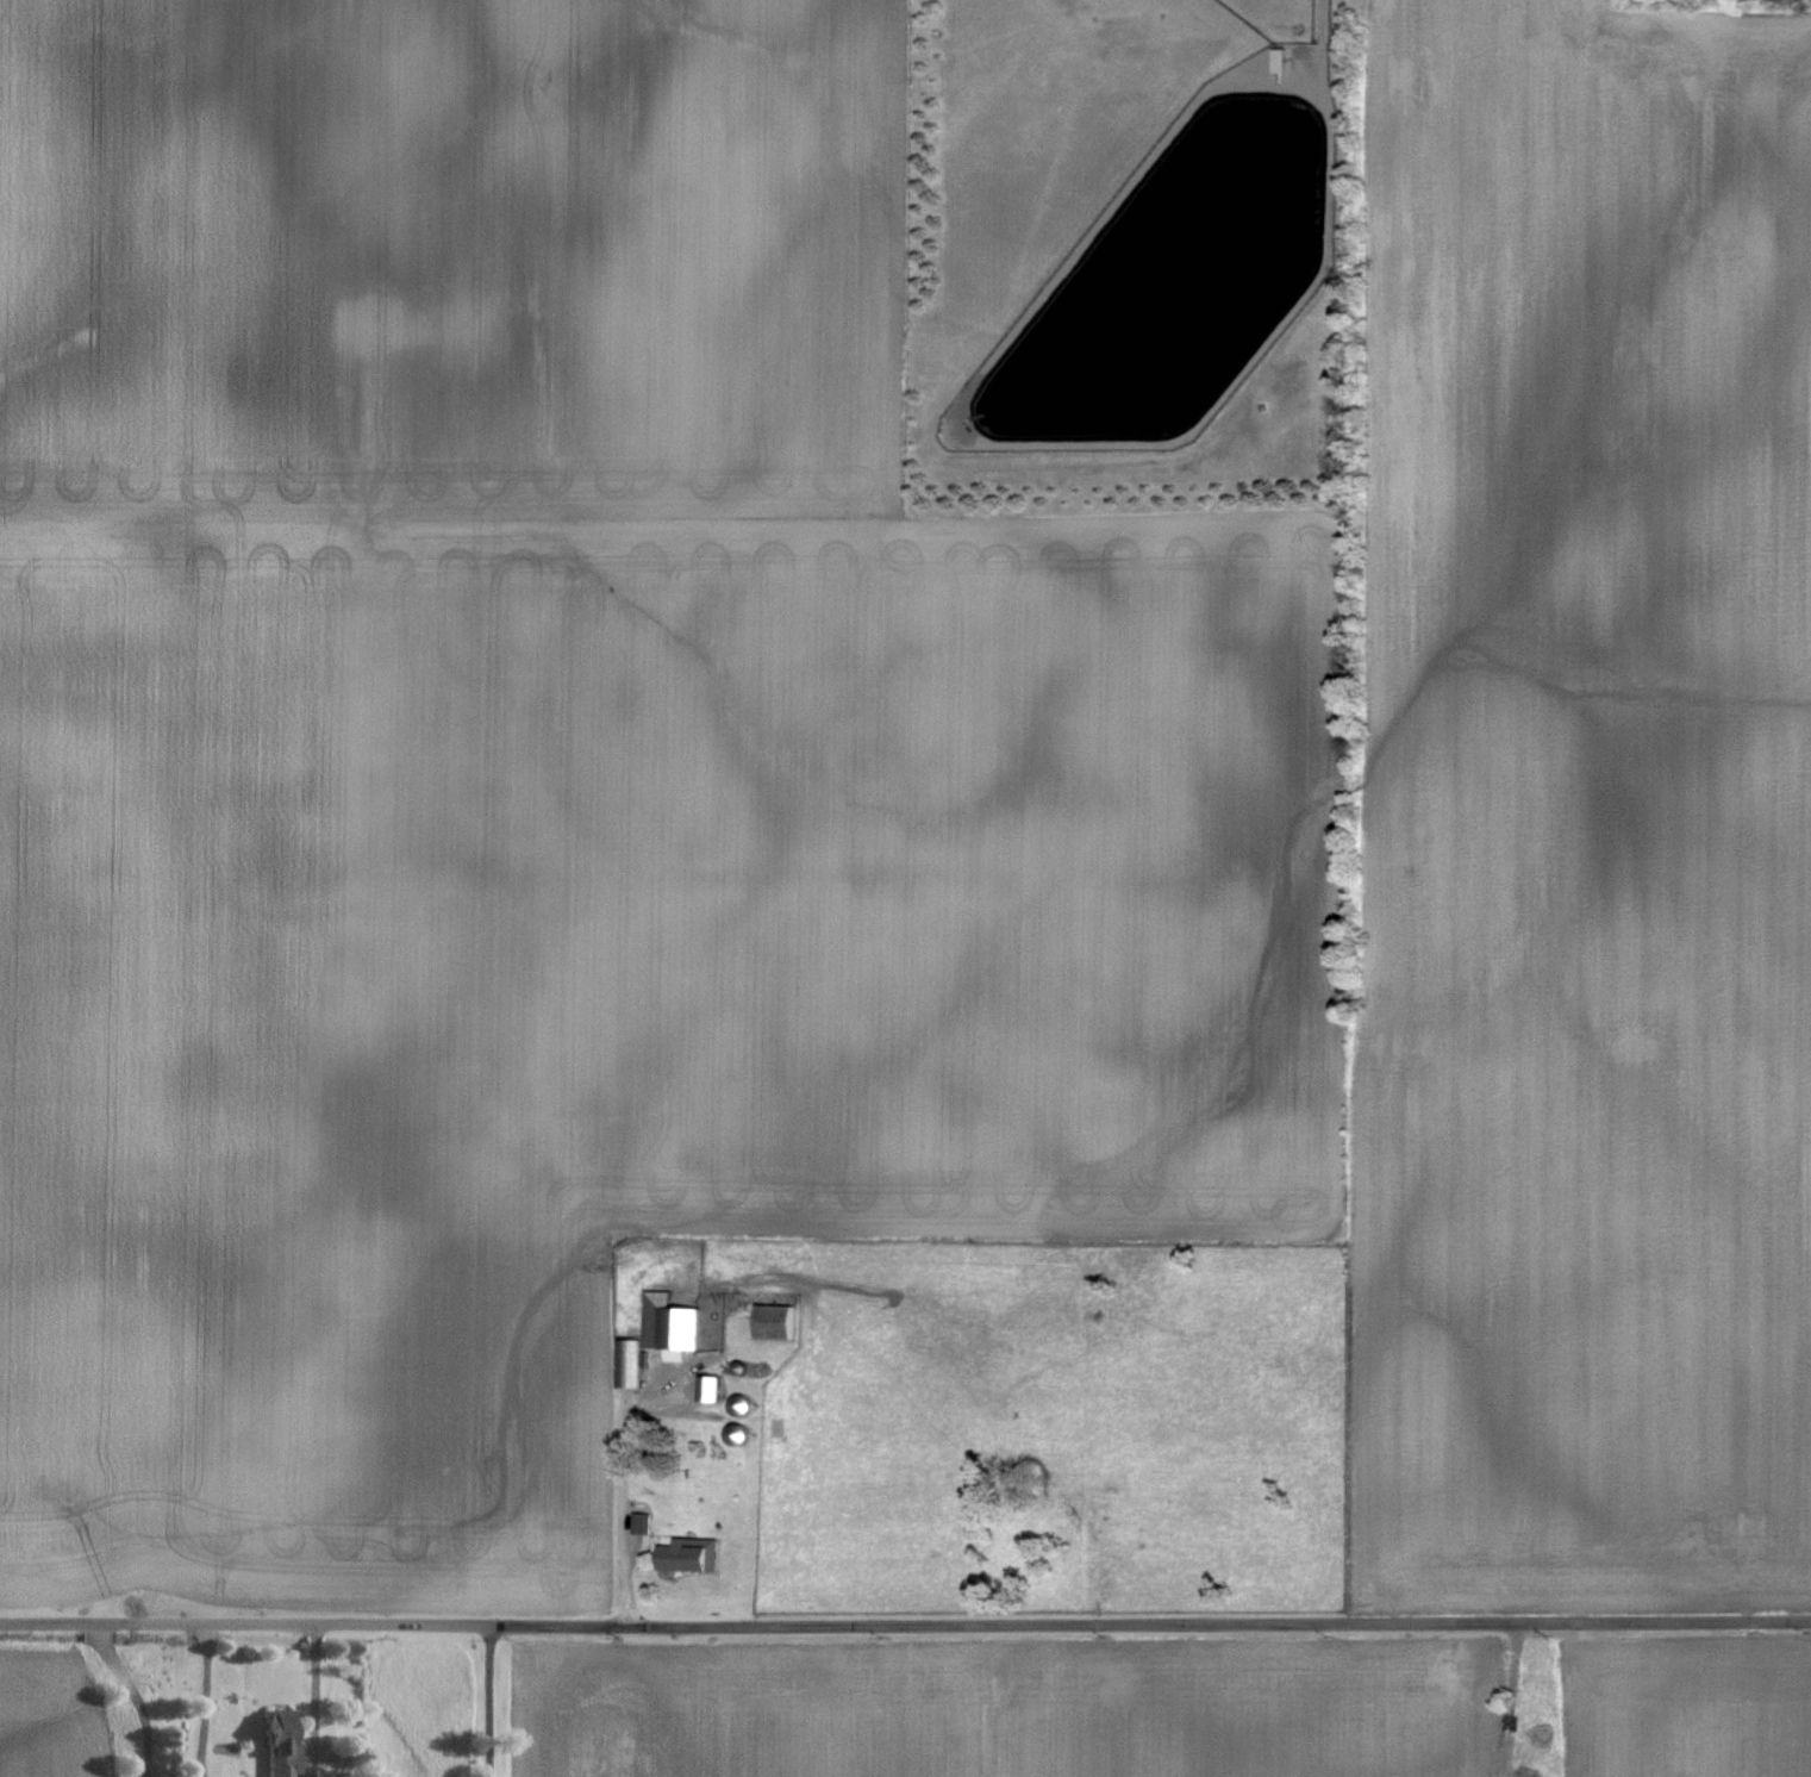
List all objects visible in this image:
building: (1286, 60)
building: (779, 1321)
building: (674, 1326)
building: (631, 1363)
building: (714, 1388)
road: (625, 1496)
building: (644, 1522)
building: (693, 1555)
road: (905, 1625)
road: (138, 1698)
road: (205, 1702)
road: (316, 1702)
road: (489, 1702)
building: (282, 1747)

